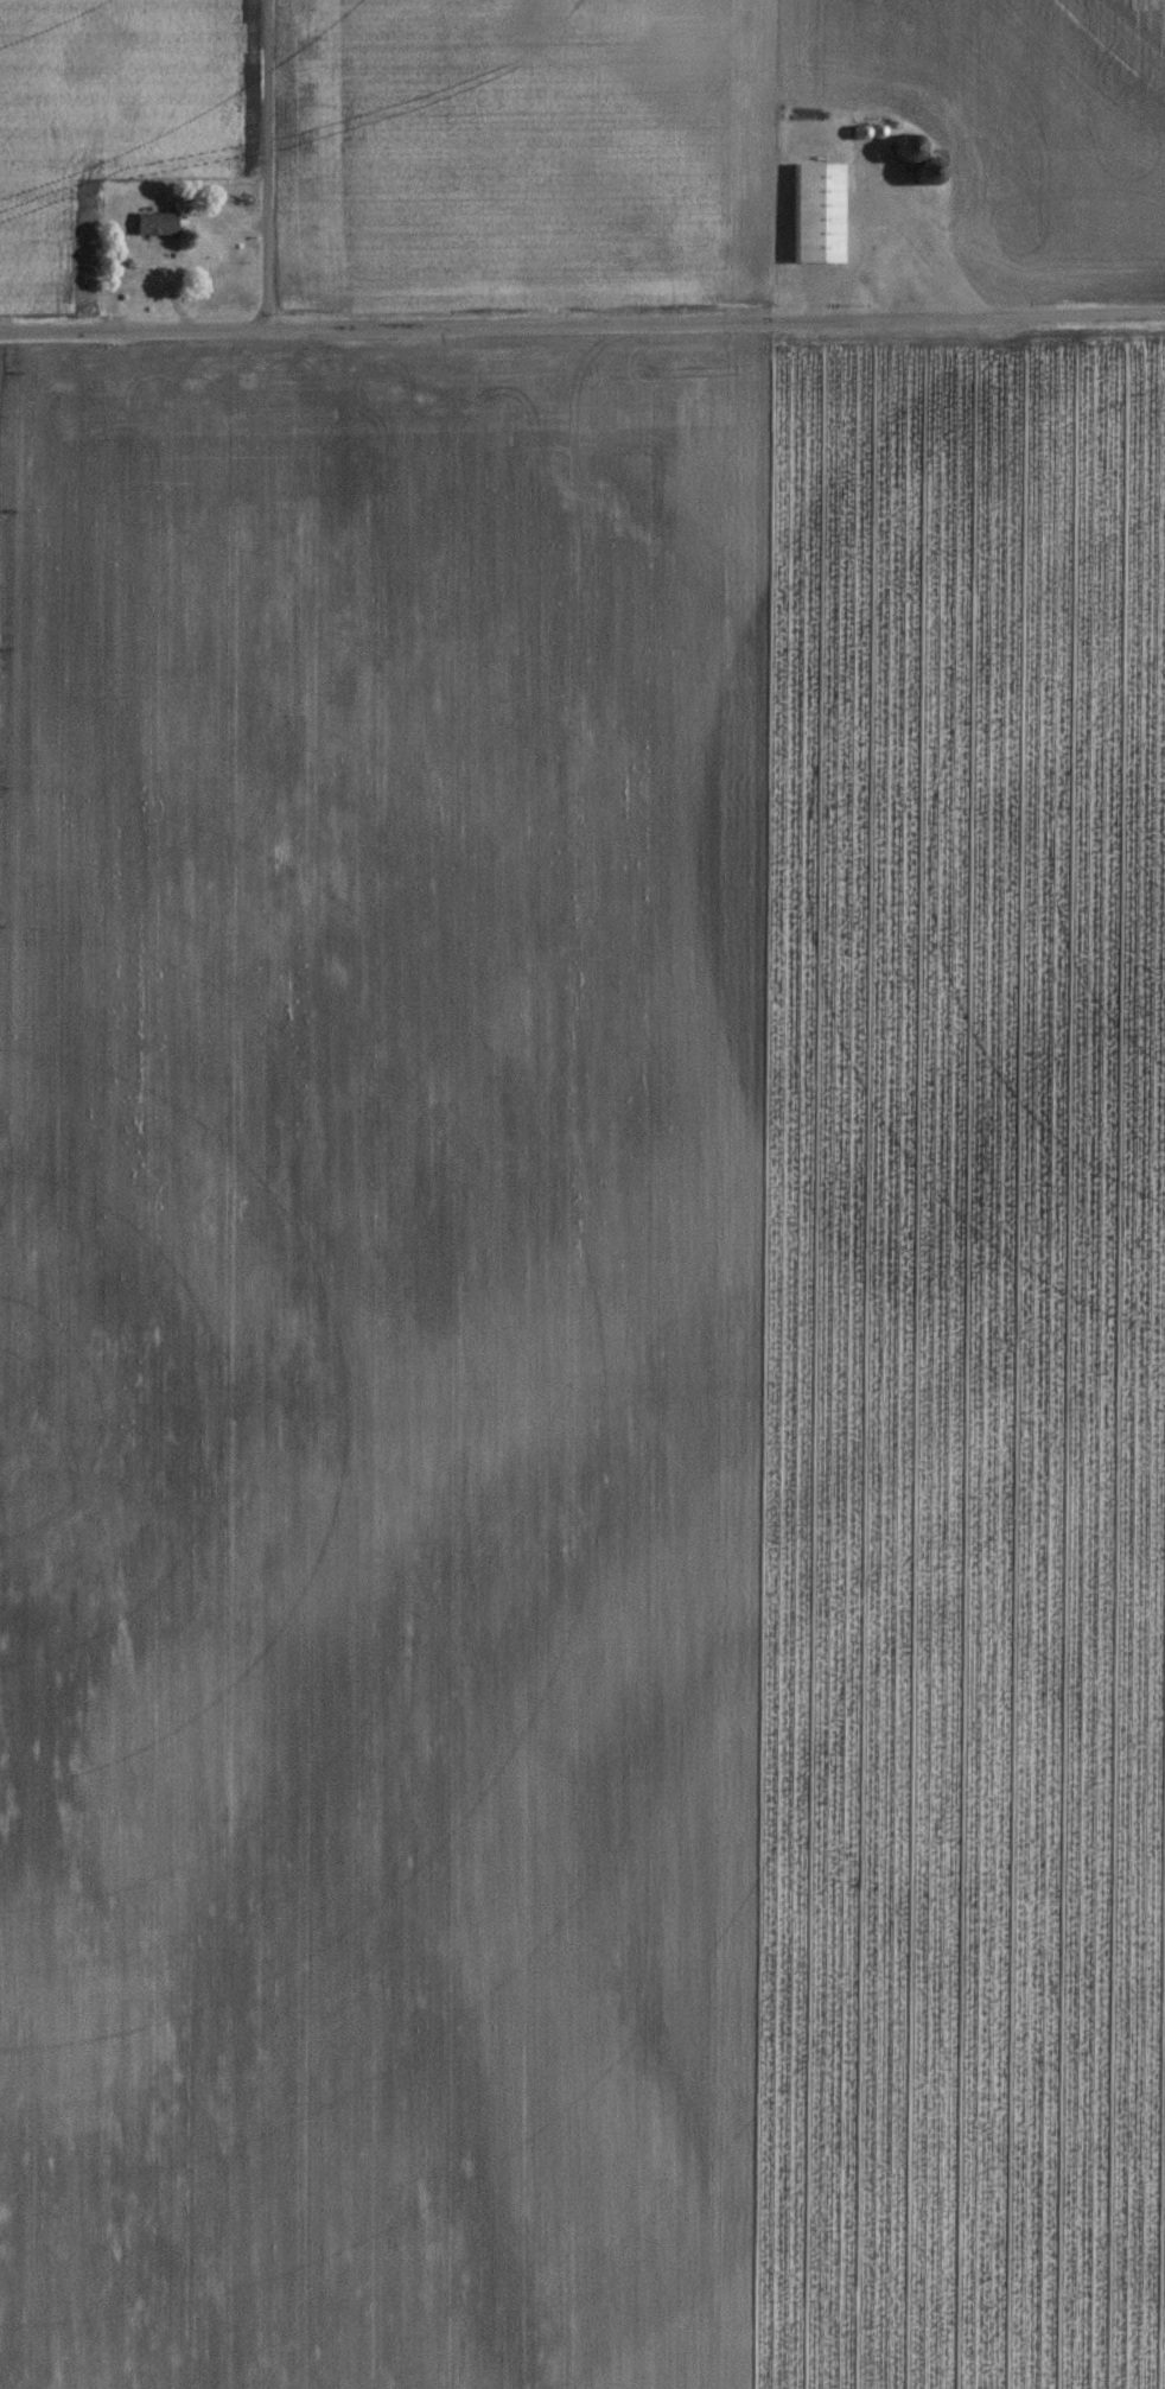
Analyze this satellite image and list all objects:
road: (267, 164)
building: (815, 223)
building: (154, 234)
road: (582, 322)

